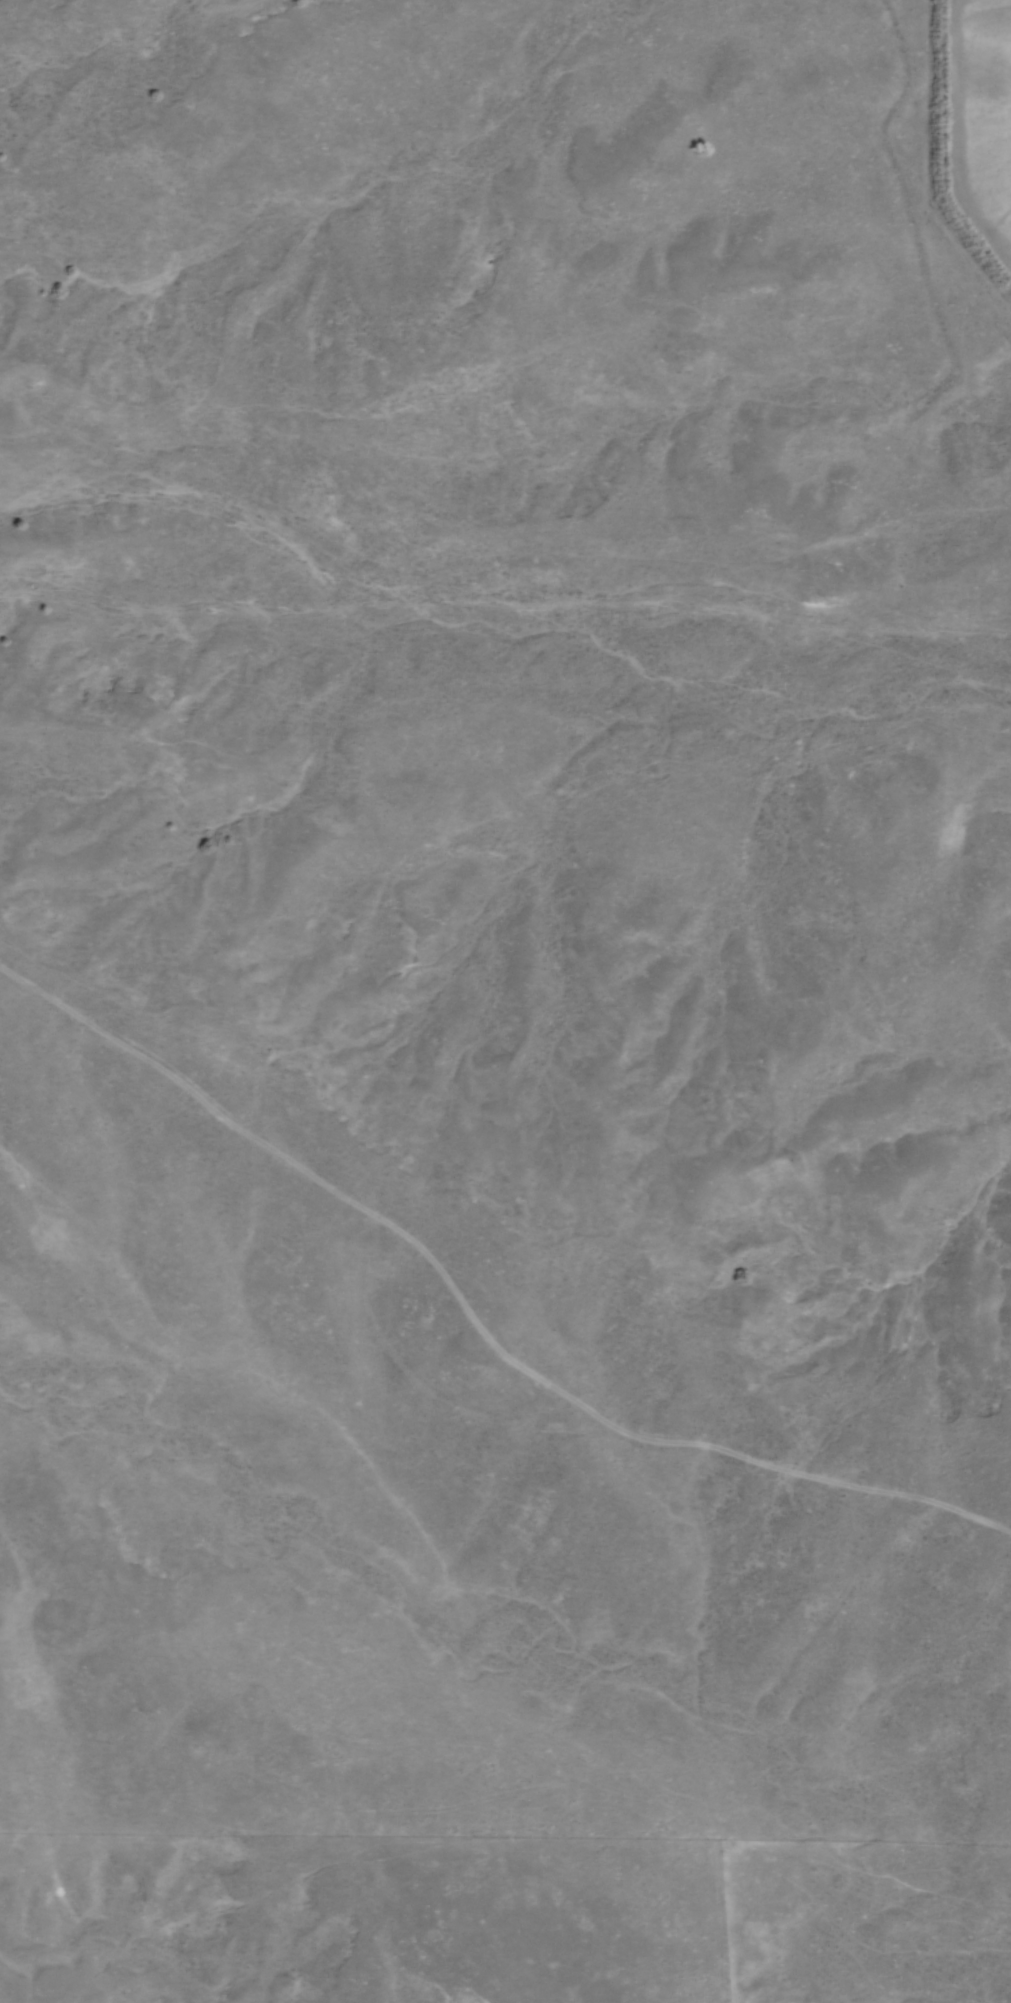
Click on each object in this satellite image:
crop: (982, 115)

